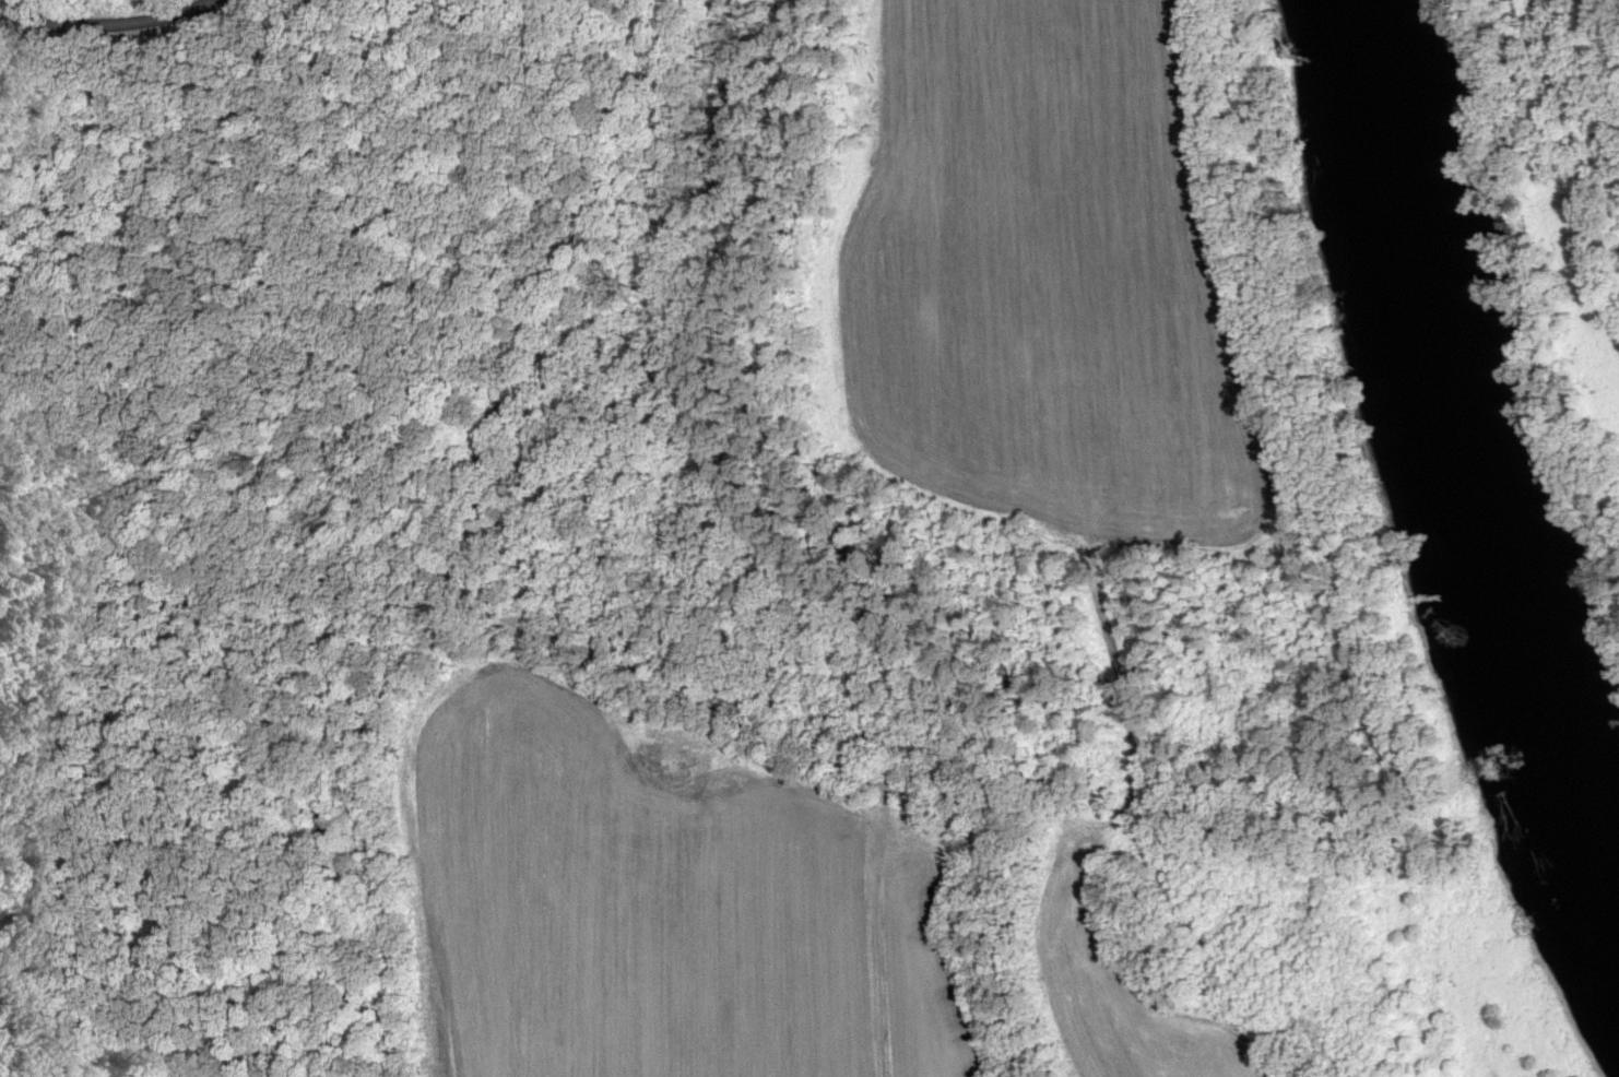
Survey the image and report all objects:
road: (103, 21)
river: (1458, 454)
road: (452, 554)

